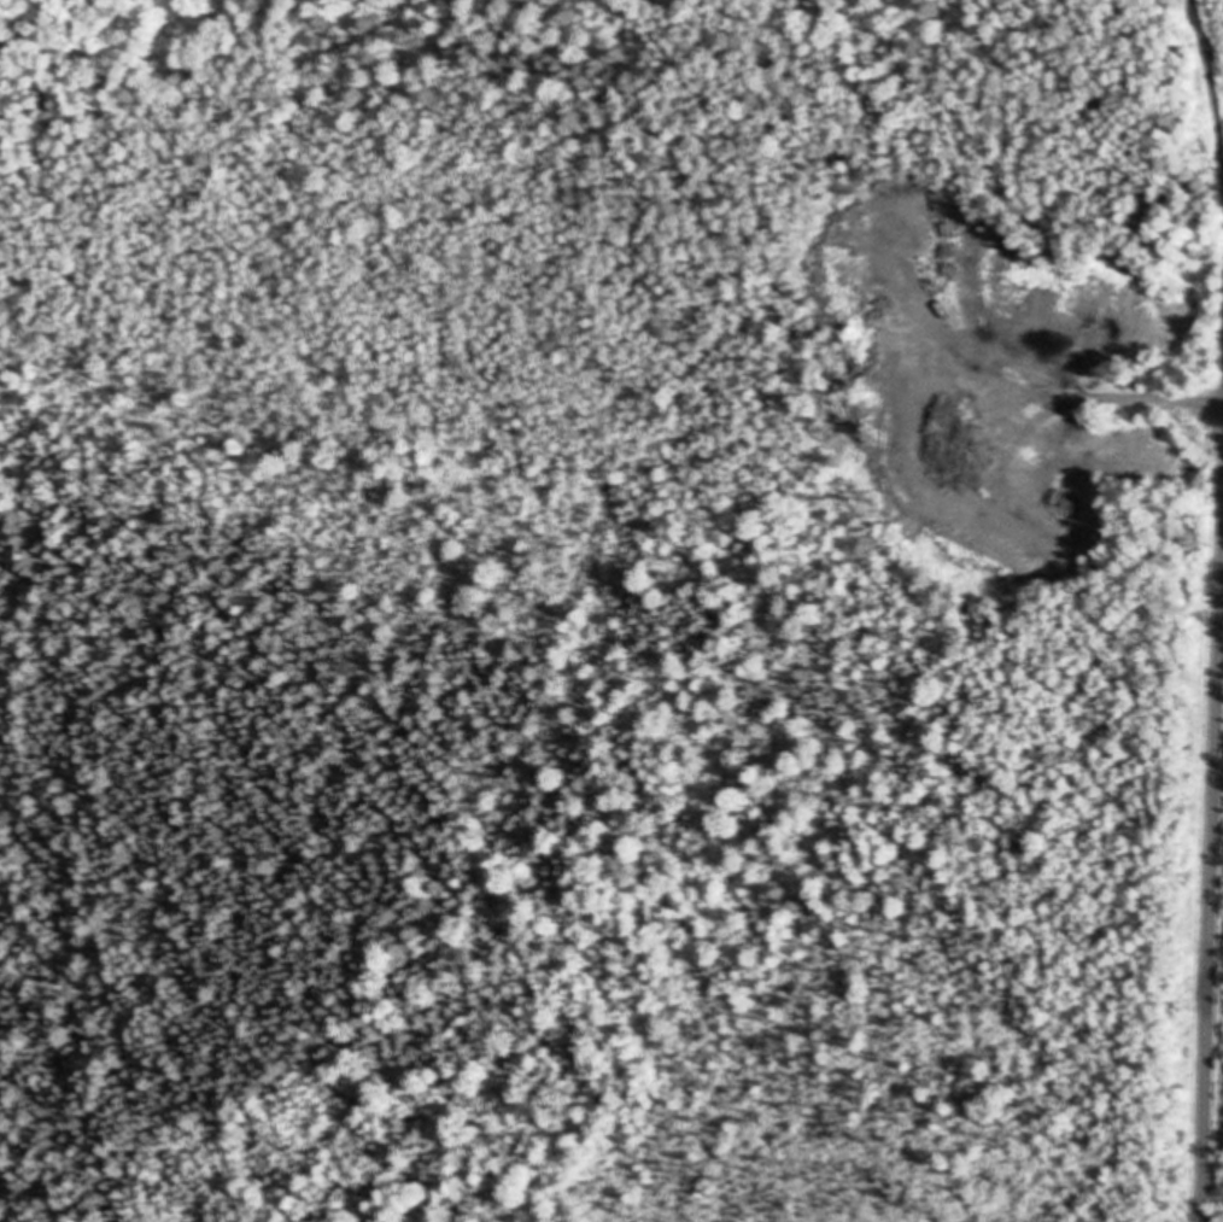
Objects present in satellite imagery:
road: (1209, 69)
park: (605, 538)
road: (1217, 981)

